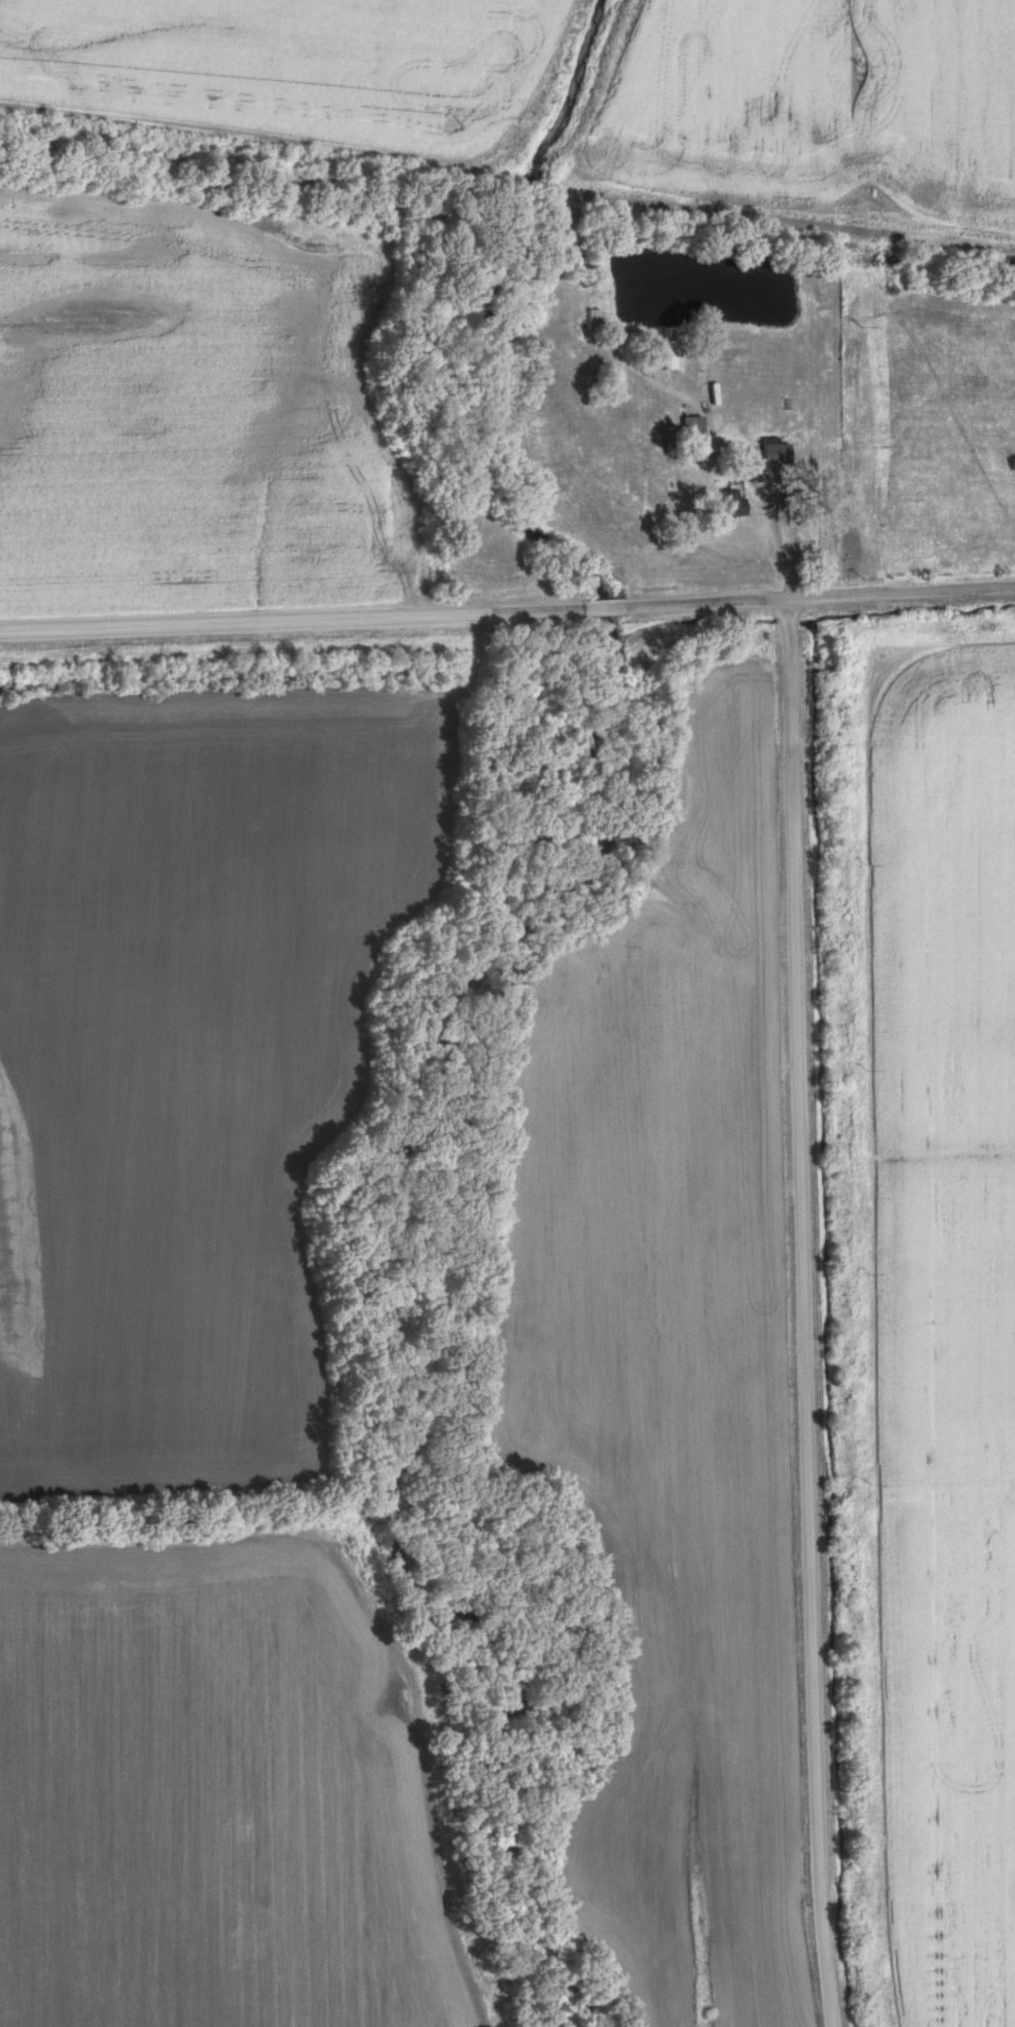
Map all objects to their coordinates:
crop: (296, 70)
crop: (812, 108)
building: (669, 362)
crop: (192, 409)
building: (689, 439)
building: (774, 455)
building: (724, 504)
road: (507, 614)
crop: (189, 1057)
road: (803, 1315)
crop: (946, 1320)
crop: (670, 1379)
crop: (216, 1790)

